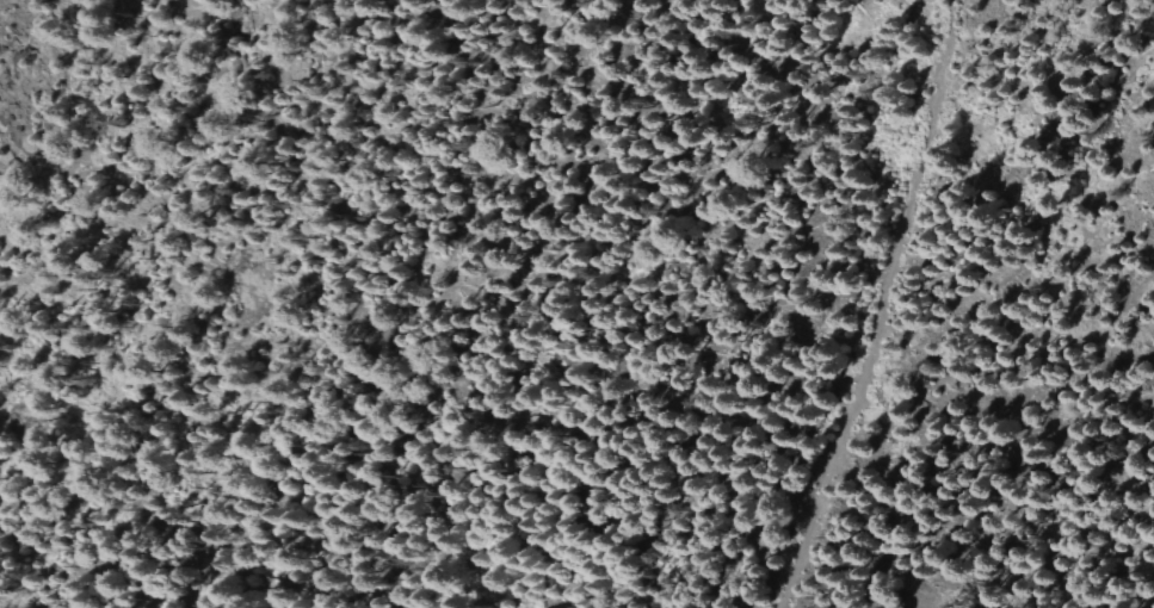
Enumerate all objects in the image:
road: (890, 318)

